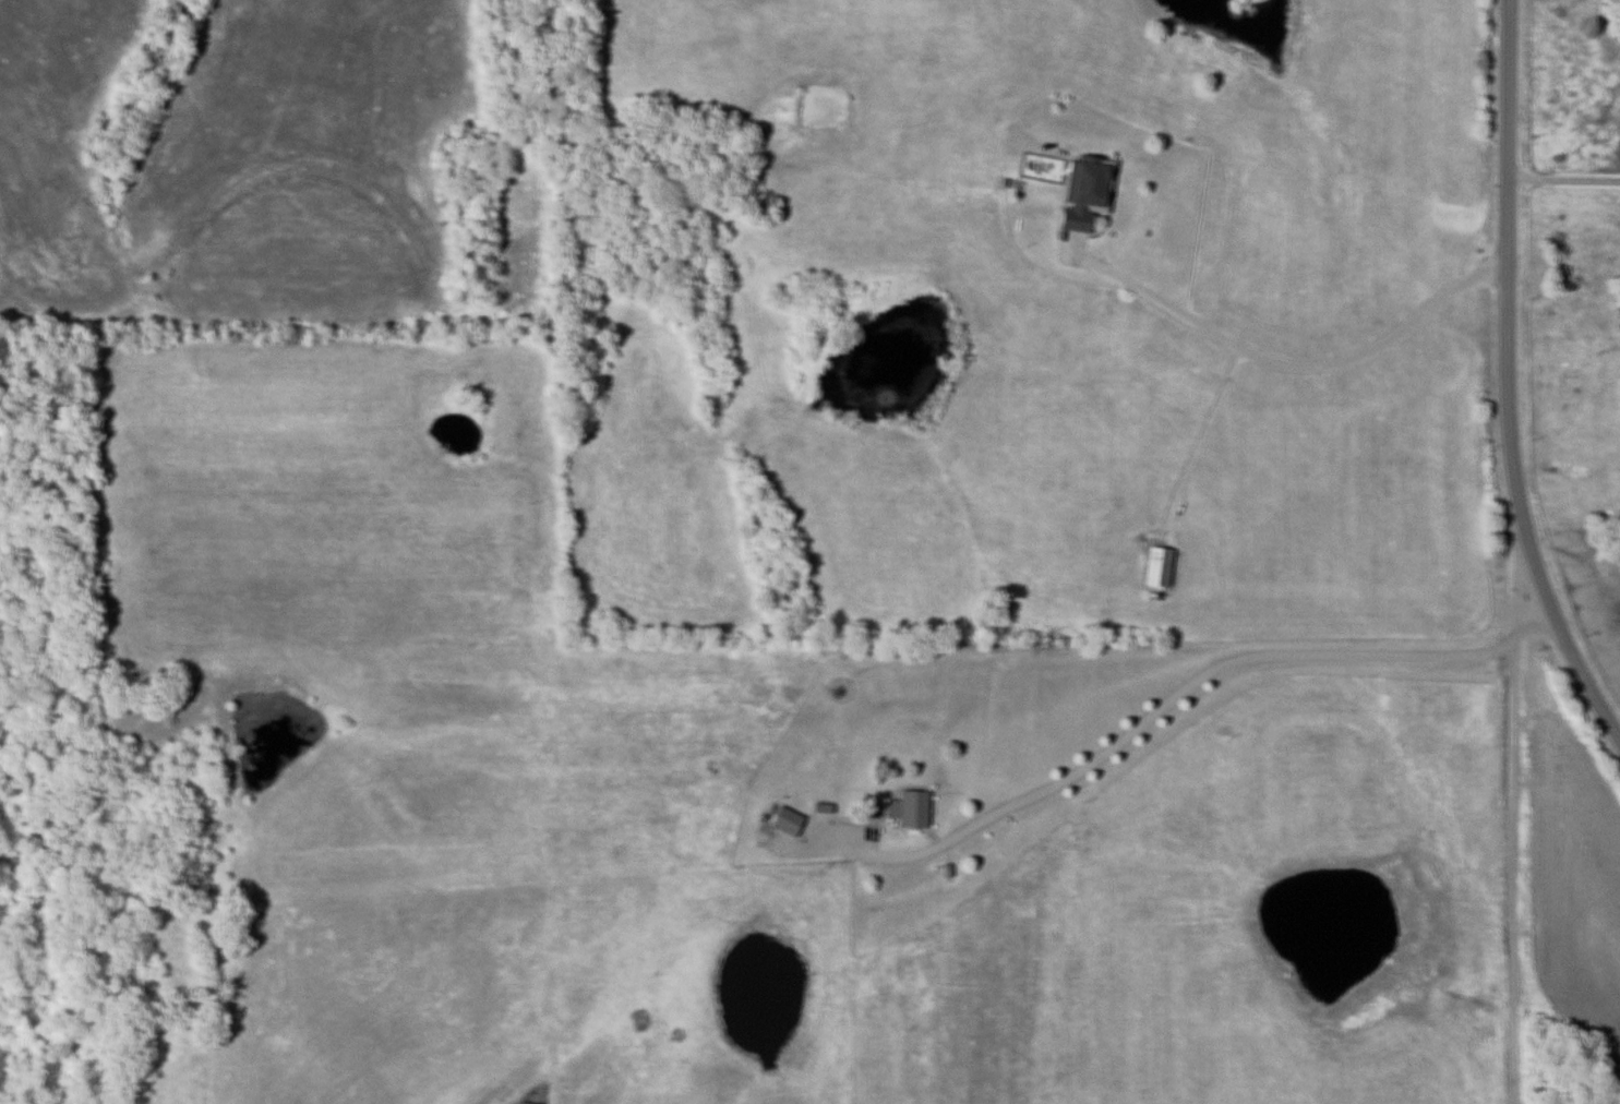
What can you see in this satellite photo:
building: (1087, 189)
road: (1508, 298)
road: (1286, 367)
building: (1157, 567)
road: (1224, 665)
road: (1574, 672)
building: (909, 811)
building: (787, 821)
road: (1510, 848)

